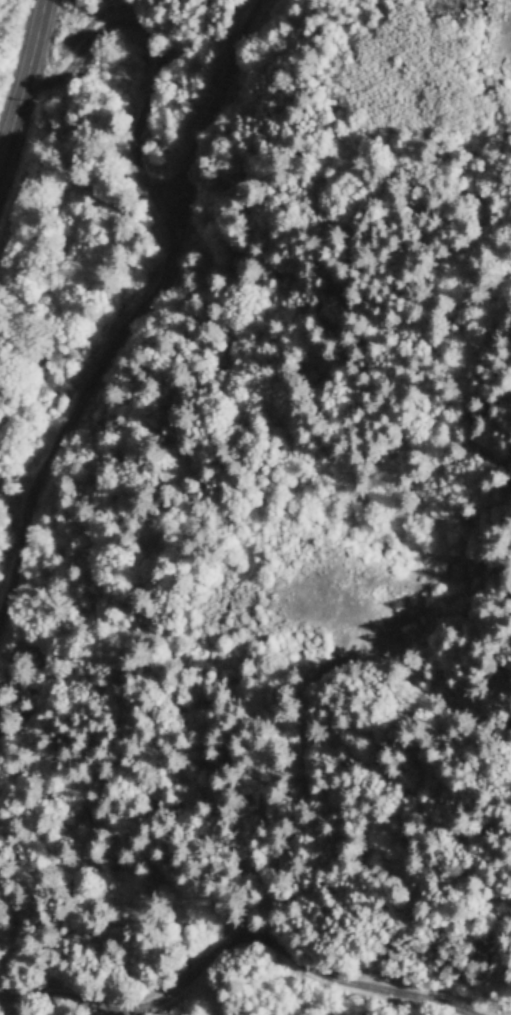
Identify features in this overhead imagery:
road: (38, 84)
road: (204, 922)

